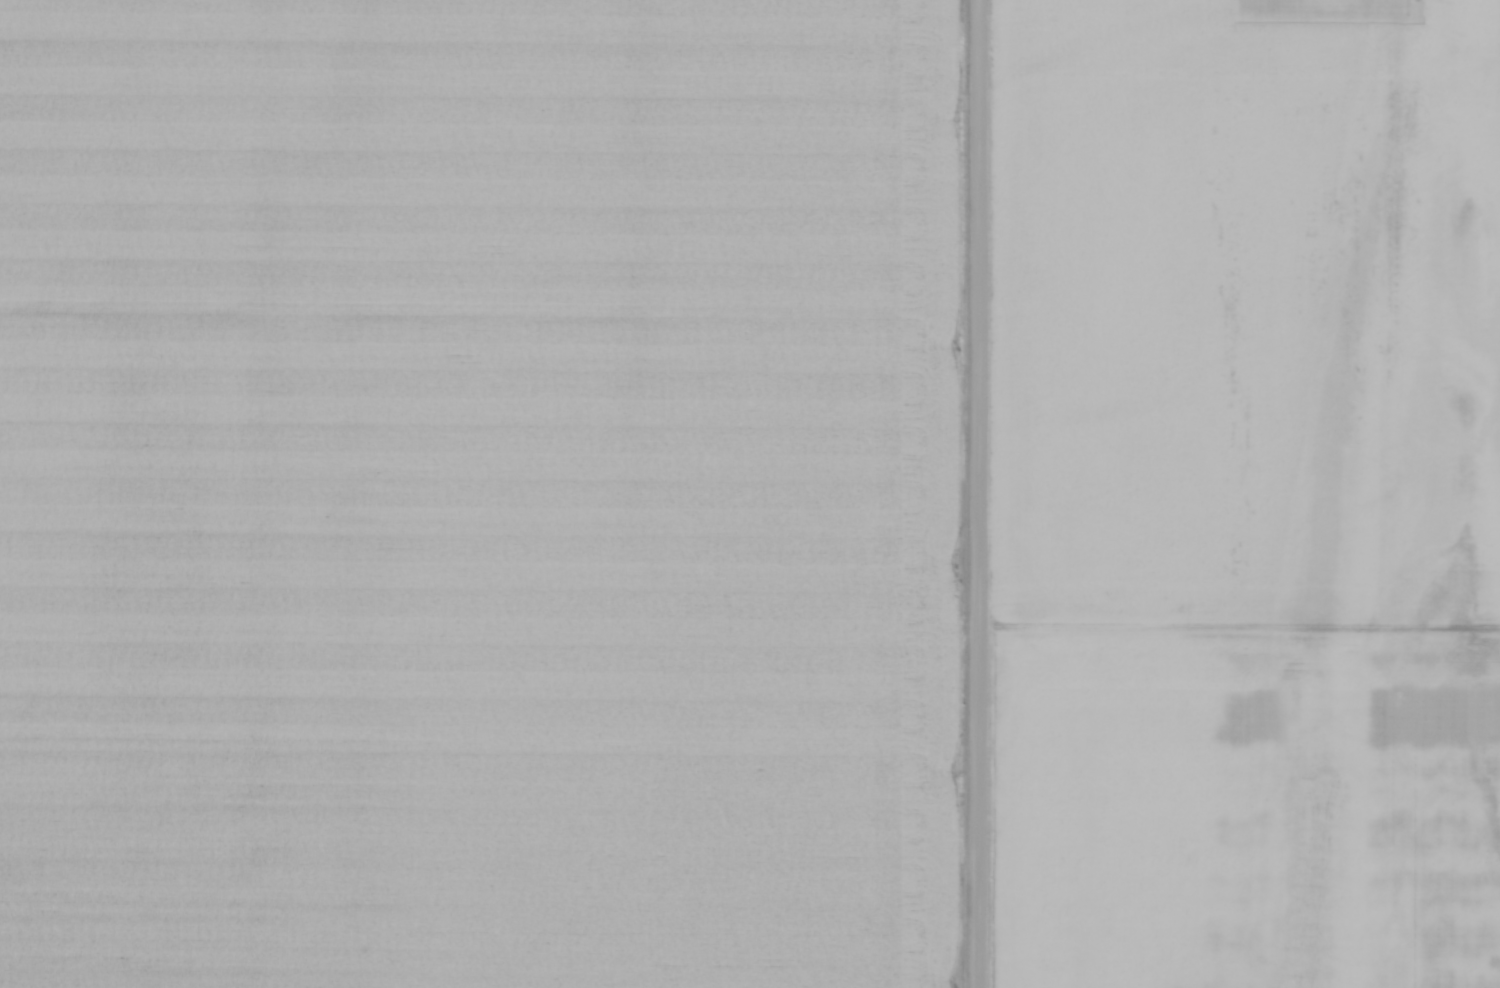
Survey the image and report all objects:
road: (976, 494)

